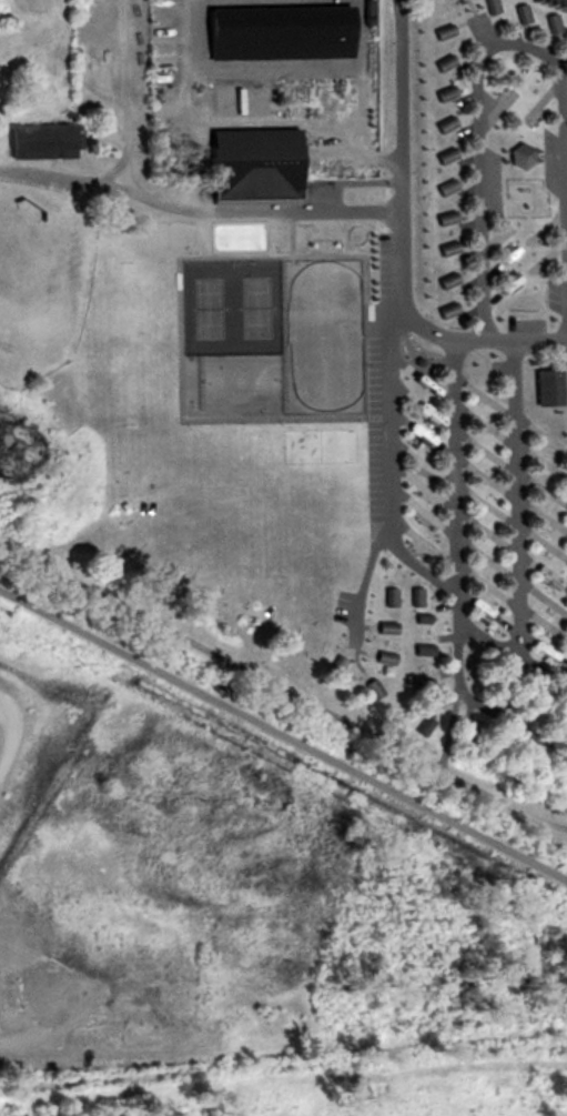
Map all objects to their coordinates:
parking lot: (556, 2)
road: (468, 4)
building: (488, 4)
building: (518, 10)
building: (550, 20)
building: (438, 30)
building: (276, 33)
road: (485, 34)
building: (439, 61)
road: (477, 81)
road: (121, 89)
building: (439, 92)
road: (403, 105)
building: (439, 123)
building: (36, 138)
building: (515, 153)
building: (442, 154)
building: (253, 163)
road: (566, 170)
road: (88, 175)
building: (442, 184)
road: (295, 211)
building: (31, 213)
building: (442, 215)
park: (163, 234)
park: (357, 235)
water park: (325, 247)
building: (443, 248)
road: (403, 257)
building: (443, 279)
building: (443, 309)
park: (233, 310)
park: (322, 339)
road: (476, 341)
building: (543, 385)
park: (234, 386)
road: (388, 474)
road: (518, 501)
road: (419, 569)
road: (457, 576)
building: (482, 585)
building: (387, 594)
building: (413, 594)
building: (547, 602)
building: (487, 614)
building: (417, 617)
building: (545, 624)
building: (382, 626)
building: (418, 649)
road: (512, 654)
building: (381, 656)
building: (332, 663)
building: (489, 675)
building: (416, 682)
road: (283, 684)
building: (371, 685)
building: (533, 694)
building: (423, 724)
building: (564, 724)
road: (283, 734)
building: (463, 741)
building: (492, 748)
building: (541, 773)

